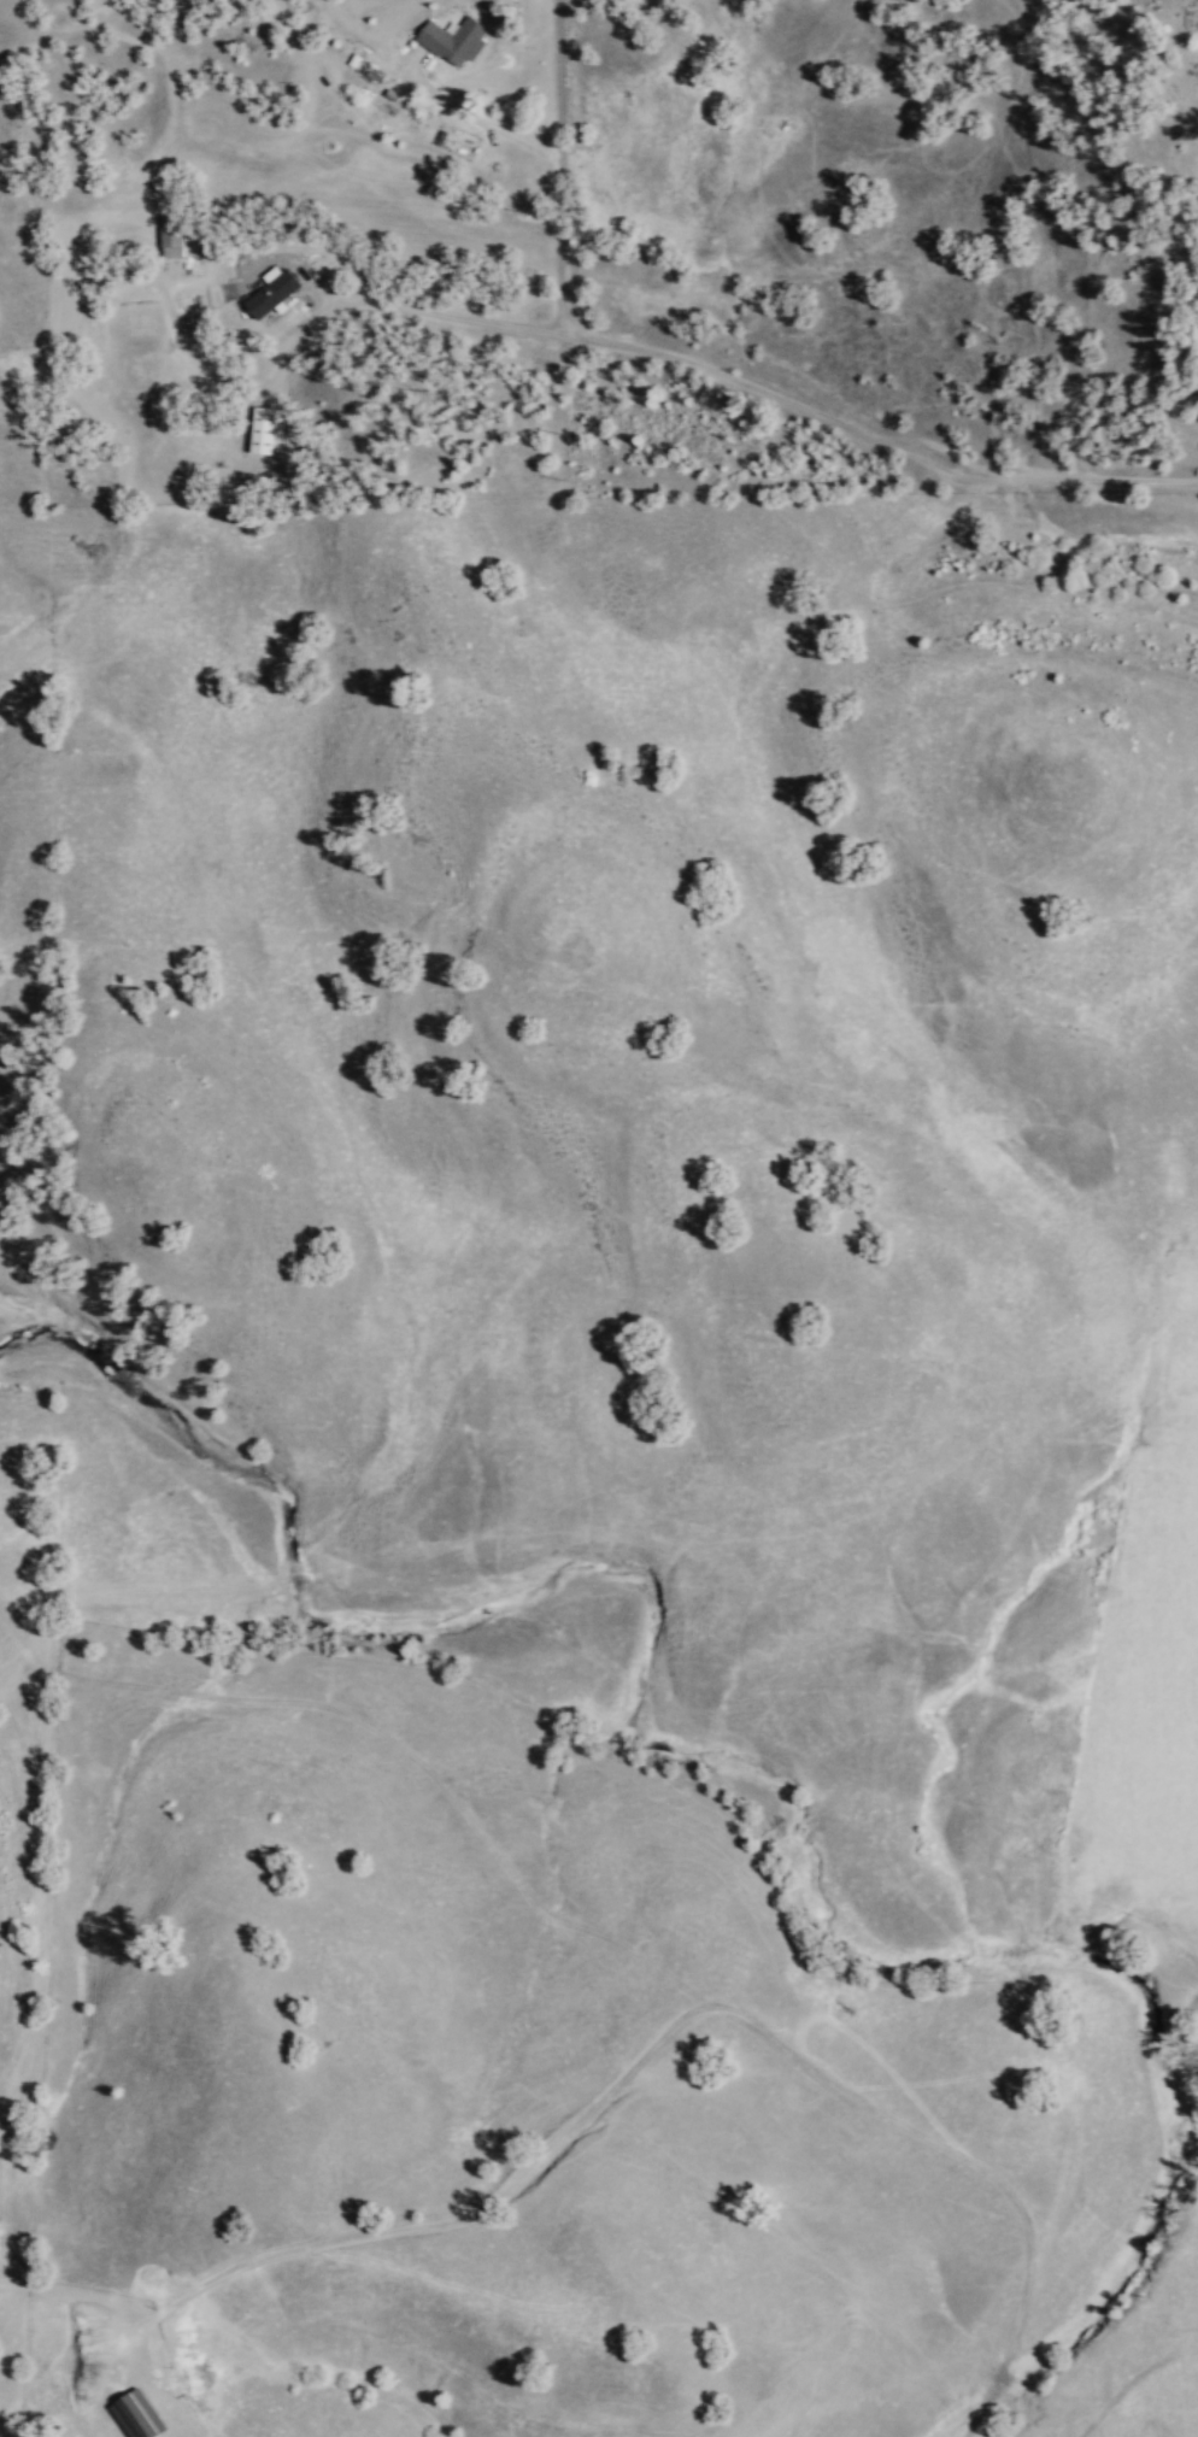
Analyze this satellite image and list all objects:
building: (454, 39)
road: (558, 77)
road: (574, 164)
building: (178, 236)
building: (274, 293)
road: (453, 313)
building: (263, 429)
road: (885, 445)
road: (681, 2015)
road: (67, 2291)
building: (139, 2414)

